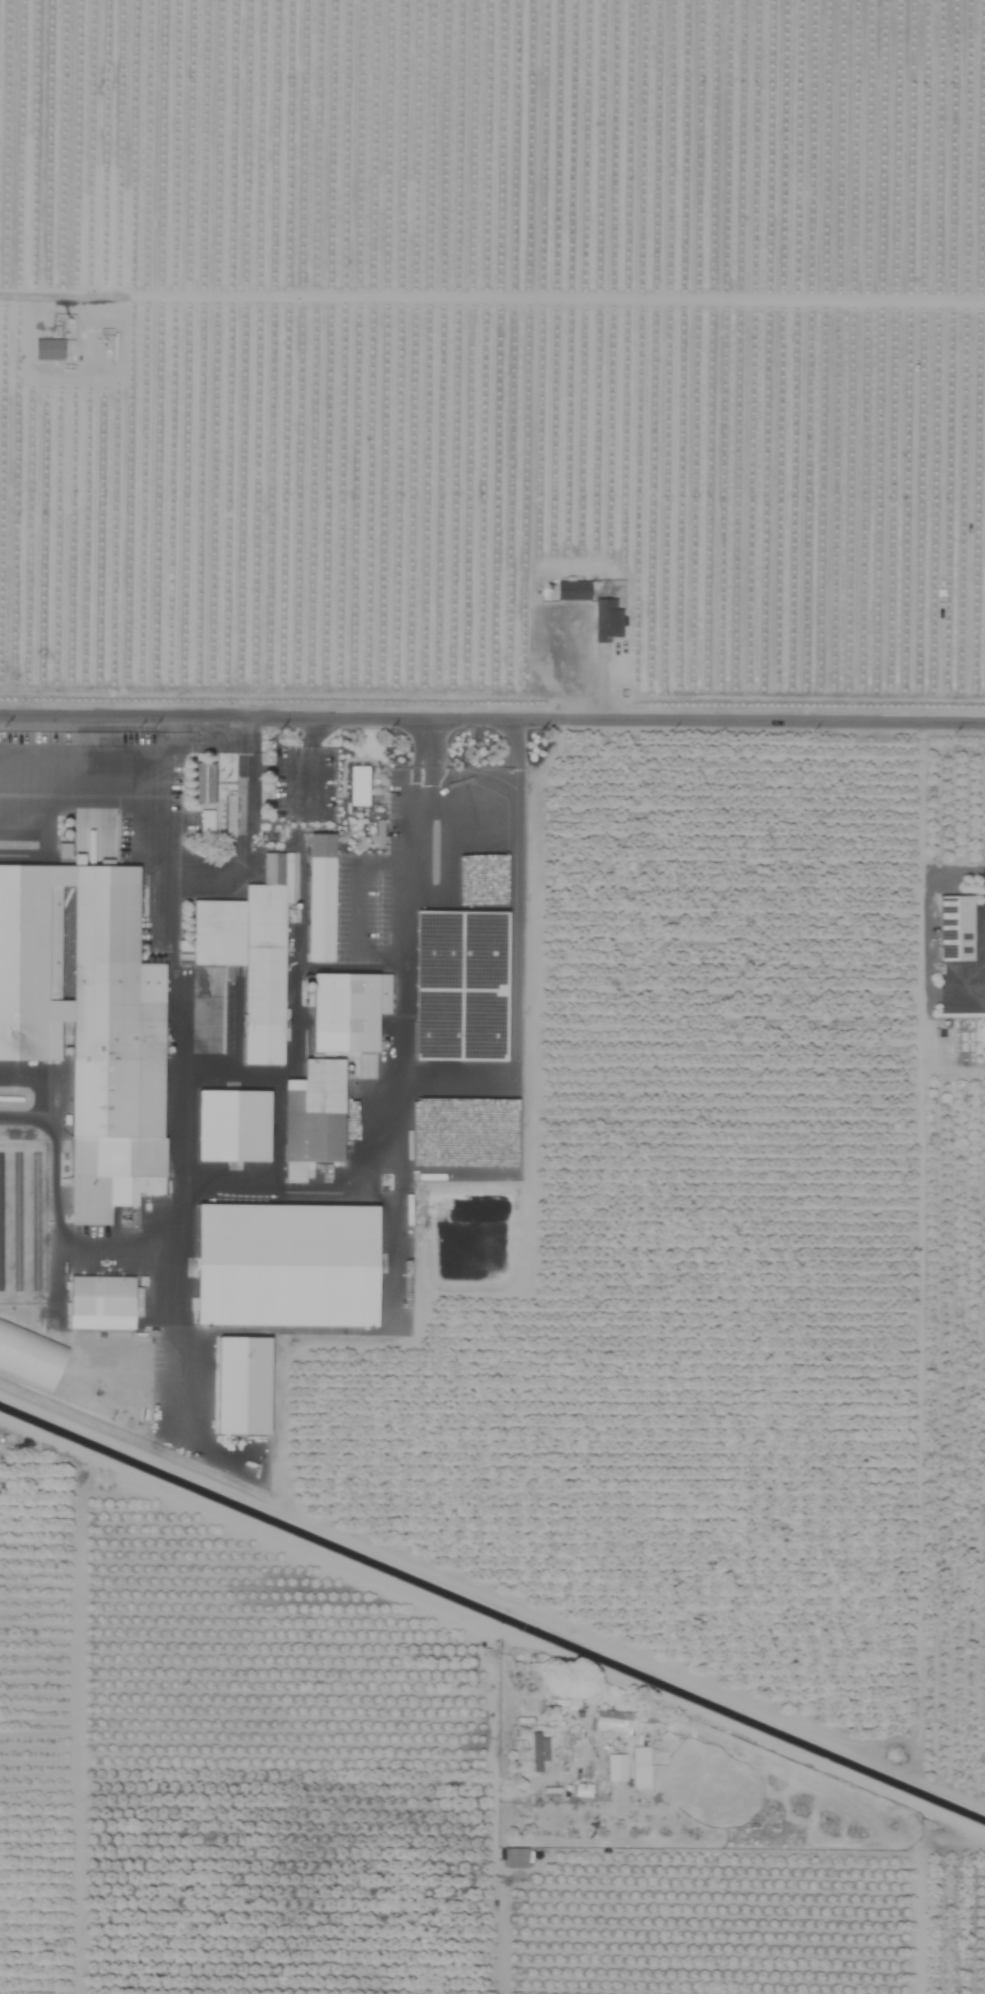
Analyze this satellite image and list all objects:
road: (59, 296)
building: (48, 349)
road: (31, 506)
building: (573, 590)
building: (607, 620)
road: (602, 686)
road: (492, 714)
road: (180, 725)
road: (242, 726)
road: (211, 739)
road: (93, 761)
building: (204, 782)
building: (359, 786)
road: (471, 788)
road: (241, 805)
road: (152, 858)
building: (320, 897)
building: (251, 955)
crop: (519, 996)
building: (347, 1011)
building: (88, 1021)
building: (313, 1118)
building: (232, 1125)
building: (103, 1302)
building: (30, 1355)
building: (242, 1386)
building: (564, 1699)
building: (613, 1722)
building: (538, 1751)
building: (616, 1767)
building: (641, 1767)
road: (493, 1820)
building: (515, 1858)

